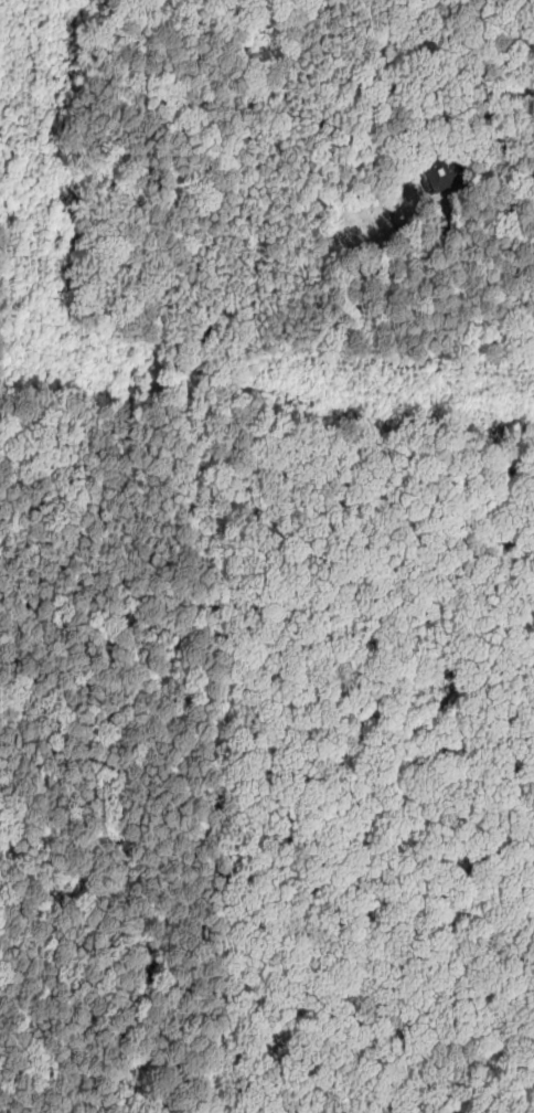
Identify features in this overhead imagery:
road: (517, 155)
building: (439, 173)

